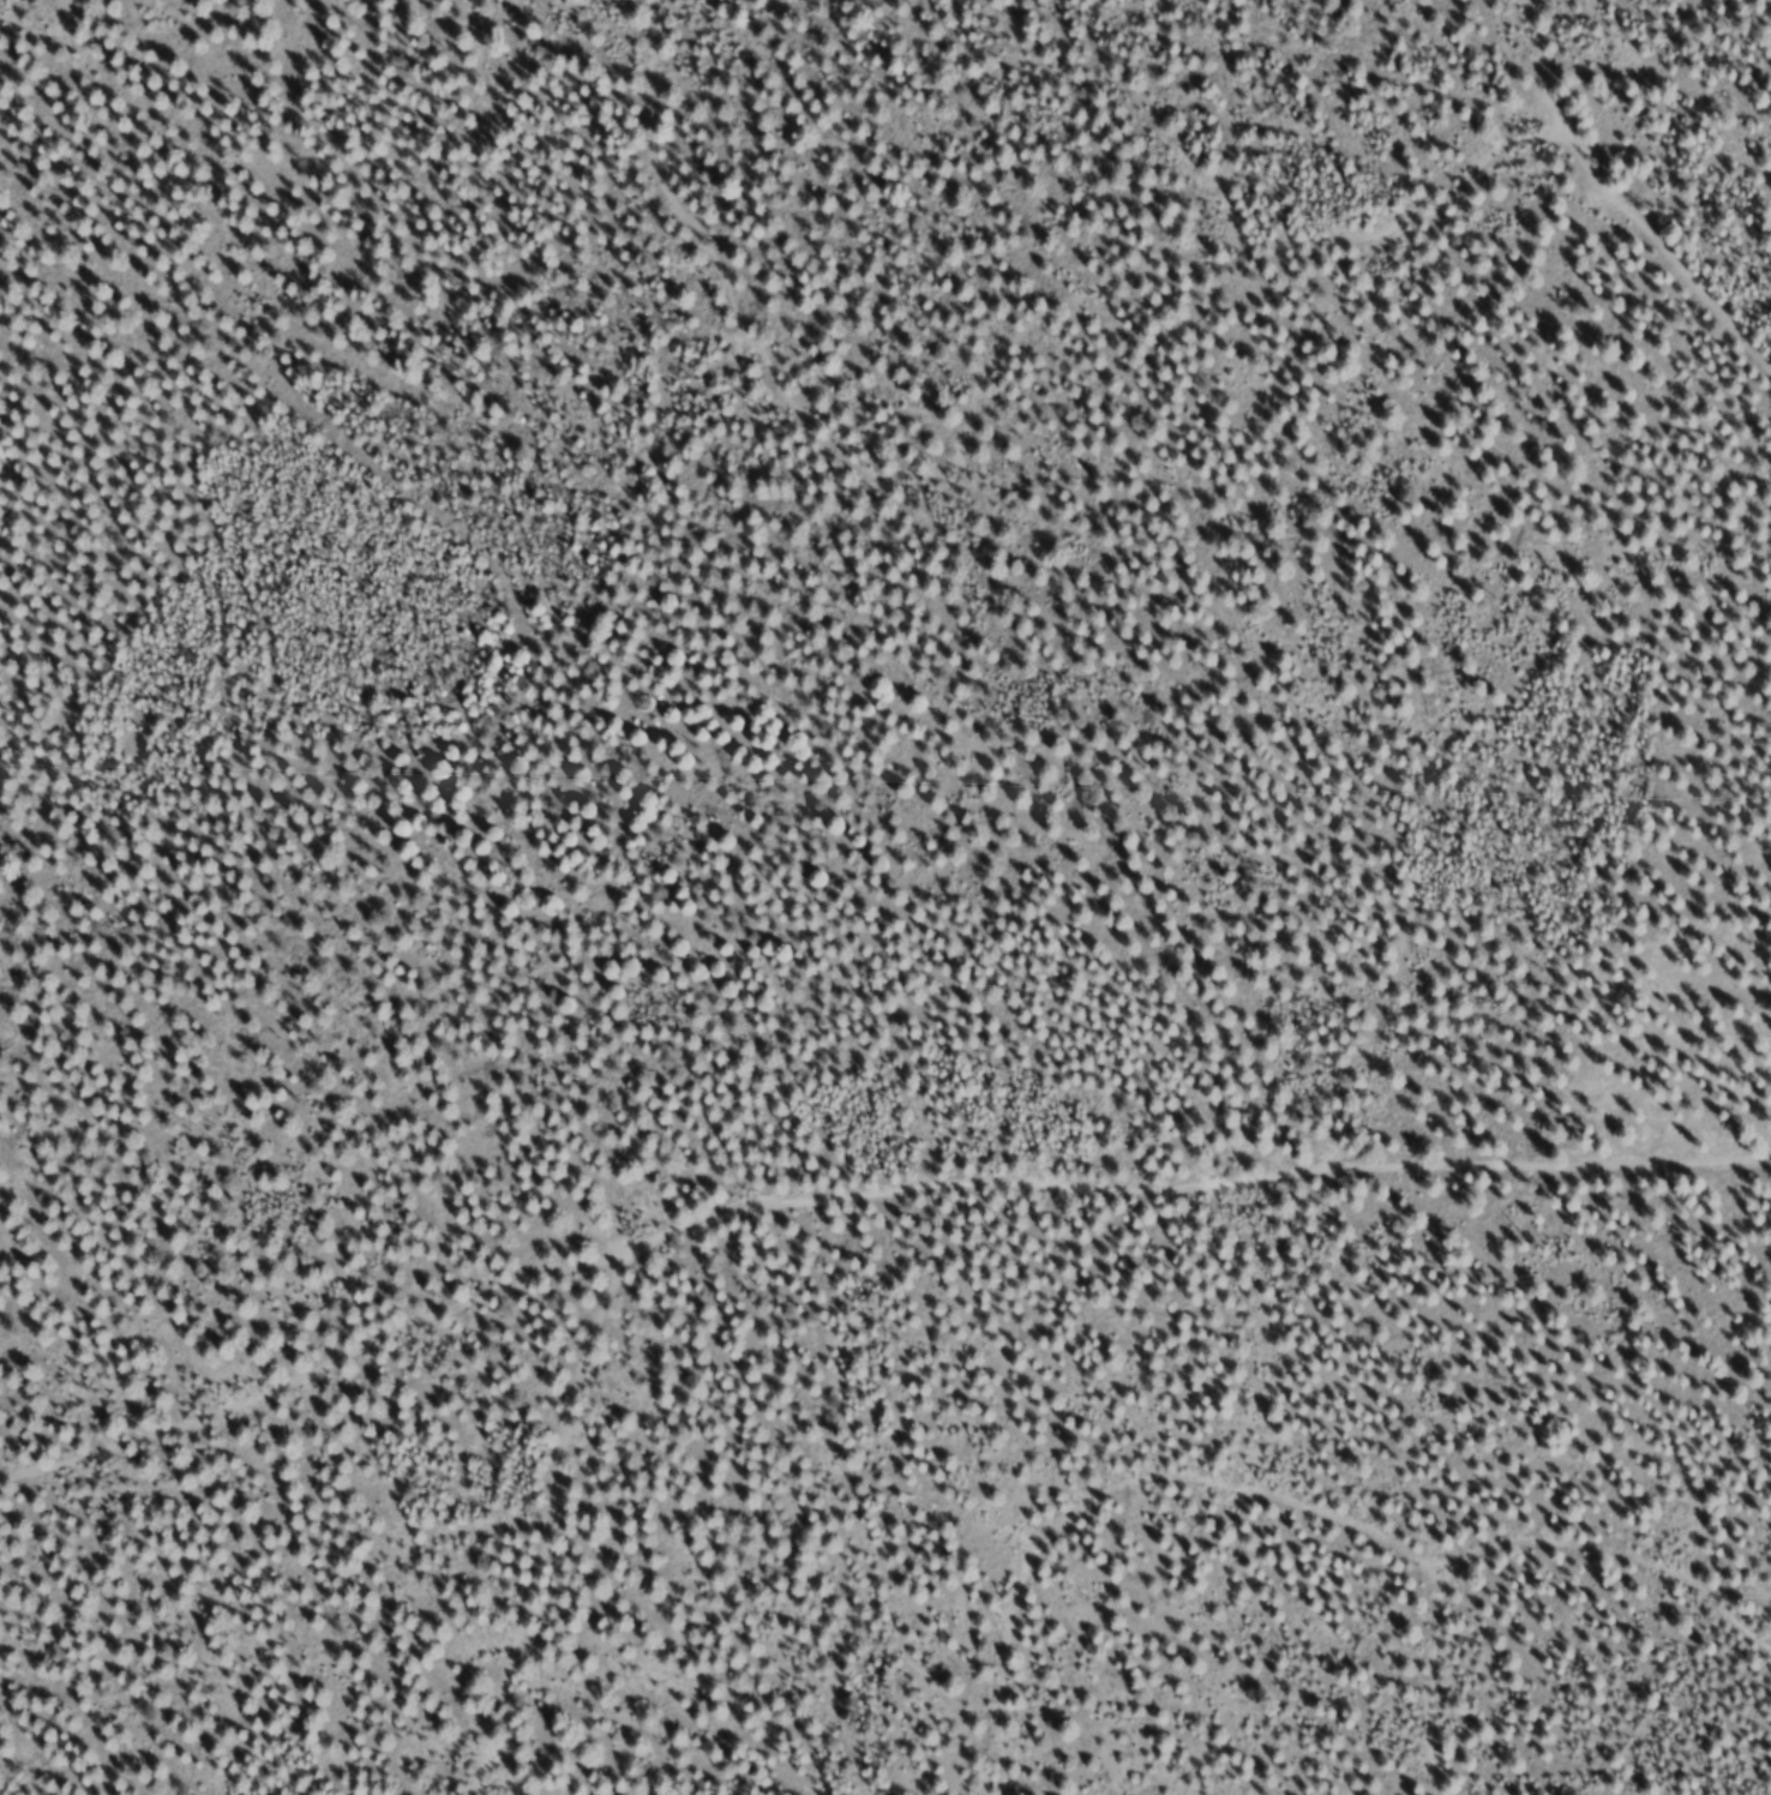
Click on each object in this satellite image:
road: (266, 22)
road: (1670, 283)
road: (856, 1119)
road: (632, 1478)
road: (1317, 1536)
road: (1476, 1705)

